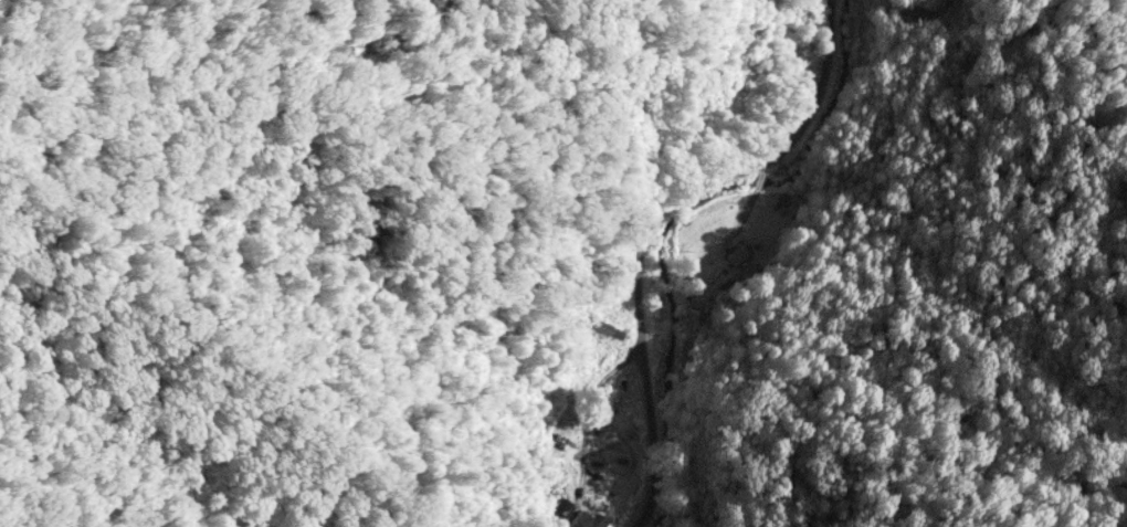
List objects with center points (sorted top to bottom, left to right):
road: (708, 242)
building: (736, 254)
building: (608, 328)
building: (588, 520)

